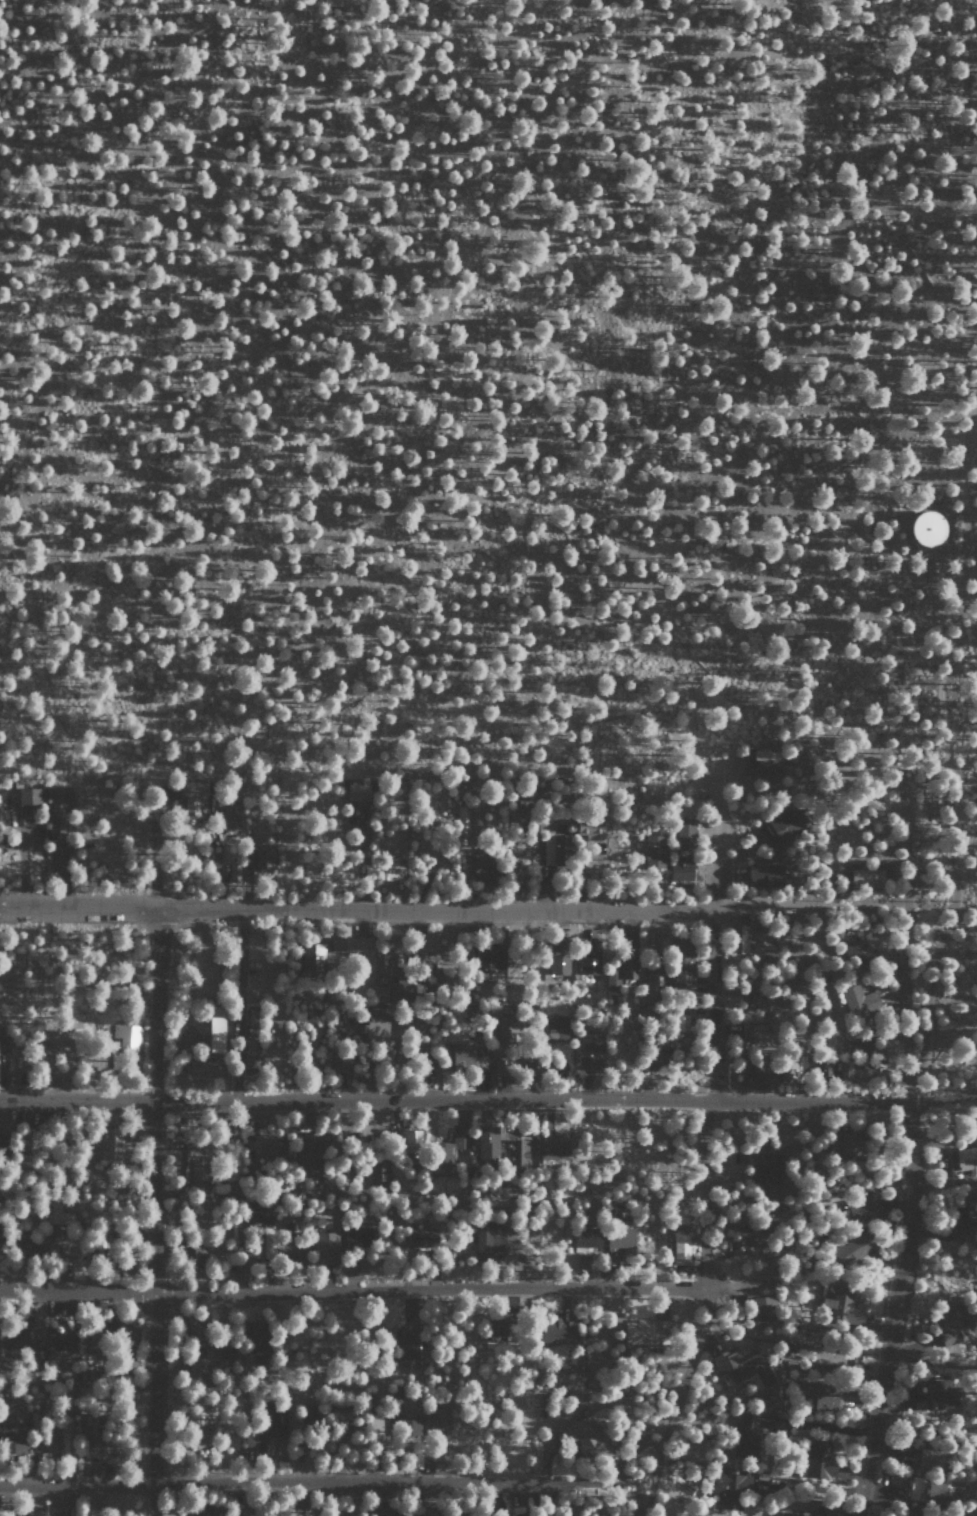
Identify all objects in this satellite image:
road: (589, 268)
road: (870, 323)
road: (961, 488)
building: (924, 531)
storage tank: (924, 531)
road: (931, 582)
road: (69, 701)
road: (691, 701)
building: (766, 759)
building: (29, 795)
building: (358, 795)
building: (194, 797)
building: (60, 810)
building: (229, 815)
building: (591, 827)
building: (780, 828)
building: (685, 833)
building: (555, 848)
building: (654, 851)
road: (961, 856)
building: (261, 858)
building: (483, 866)
building: (682, 869)
building: (234, 872)
building: (765, 875)
building: (867, 878)
road: (938, 879)
road: (838, 896)
road: (465, 905)
road: (77, 906)
building: (755, 940)
building: (354, 944)
building: (858, 949)
road: (713, 955)
building: (589, 956)
building: (559, 957)
building: (313, 958)
building: (491, 959)
building: (683, 962)
building: (630, 963)
building: (613, 977)
building: (408, 983)
building: (655, 983)
building: (765, 1000)
building: (859, 1002)
building: (681, 1022)
building: (375, 1025)
building: (558, 1028)
building: (216, 1029)
building: (251, 1029)
building: (506, 1031)
building: (753, 1033)
building: (863, 1043)
building: (589, 1049)
building: (467, 1058)
building: (342, 1062)
building: (596, 1064)
building: (499, 1067)
building: (202, 1068)
building: (861, 1069)
building: (757, 1076)
road: (456, 1101)
building: (406, 1141)
building: (488, 1143)
building: (844, 1143)
building: (110, 1144)
building: (265, 1144)
building: (554, 1149)
building: (448, 1150)
building: (518, 1152)
building: (308, 1155)
building: (967, 1159)
building: (768, 1167)
building: (202, 1171)
building: (379, 1173)
road: (904, 1197)
building: (867, 1208)
road: (150, 1211)
building: (258, 1215)
building: (966, 1218)
building: (357, 1237)
building: (423, 1237)
building: (587, 1238)
building: (620, 1239)
building: (488, 1241)
building: (20, 1244)
building: (752, 1244)
building: (325, 1248)
building: (681, 1248)
building: (852, 1249)
building: (192, 1250)
building: (288, 1250)
building: (53, 1251)
road: (353, 1291)
road: (707, 1296)
building: (846, 1308)
building: (762, 1309)
building: (499, 1326)
building: (952, 1326)
building: (128, 1331)
building: (557, 1331)
building: (27, 1337)
building: (256, 1338)
building: (2, 1339)
building: (60, 1345)
building: (408, 1348)
building: (220, 1350)
building: (741, 1368)
building: (198, 1372)
building: (939, 1393)
building: (826, 1395)
building: (409, 1402)
building: (438, 1412)
building: (274, 1421)
building: (93, 1431)
building: (12, 1432)
building: (66, 1434)
building: (747, 1434)
building: (584, 1436)
building: (820, 1457)
building: (930, 1458)
road: (324, 1483)
building: (730, 1488)
building: (926, 1489)
road: (642, 1499)
building: (260, 1511)
building: (387, 1511)
building: (230, 1512)
building: (830, 1512)
building: (426, 1513)
building: (458, 1513)

